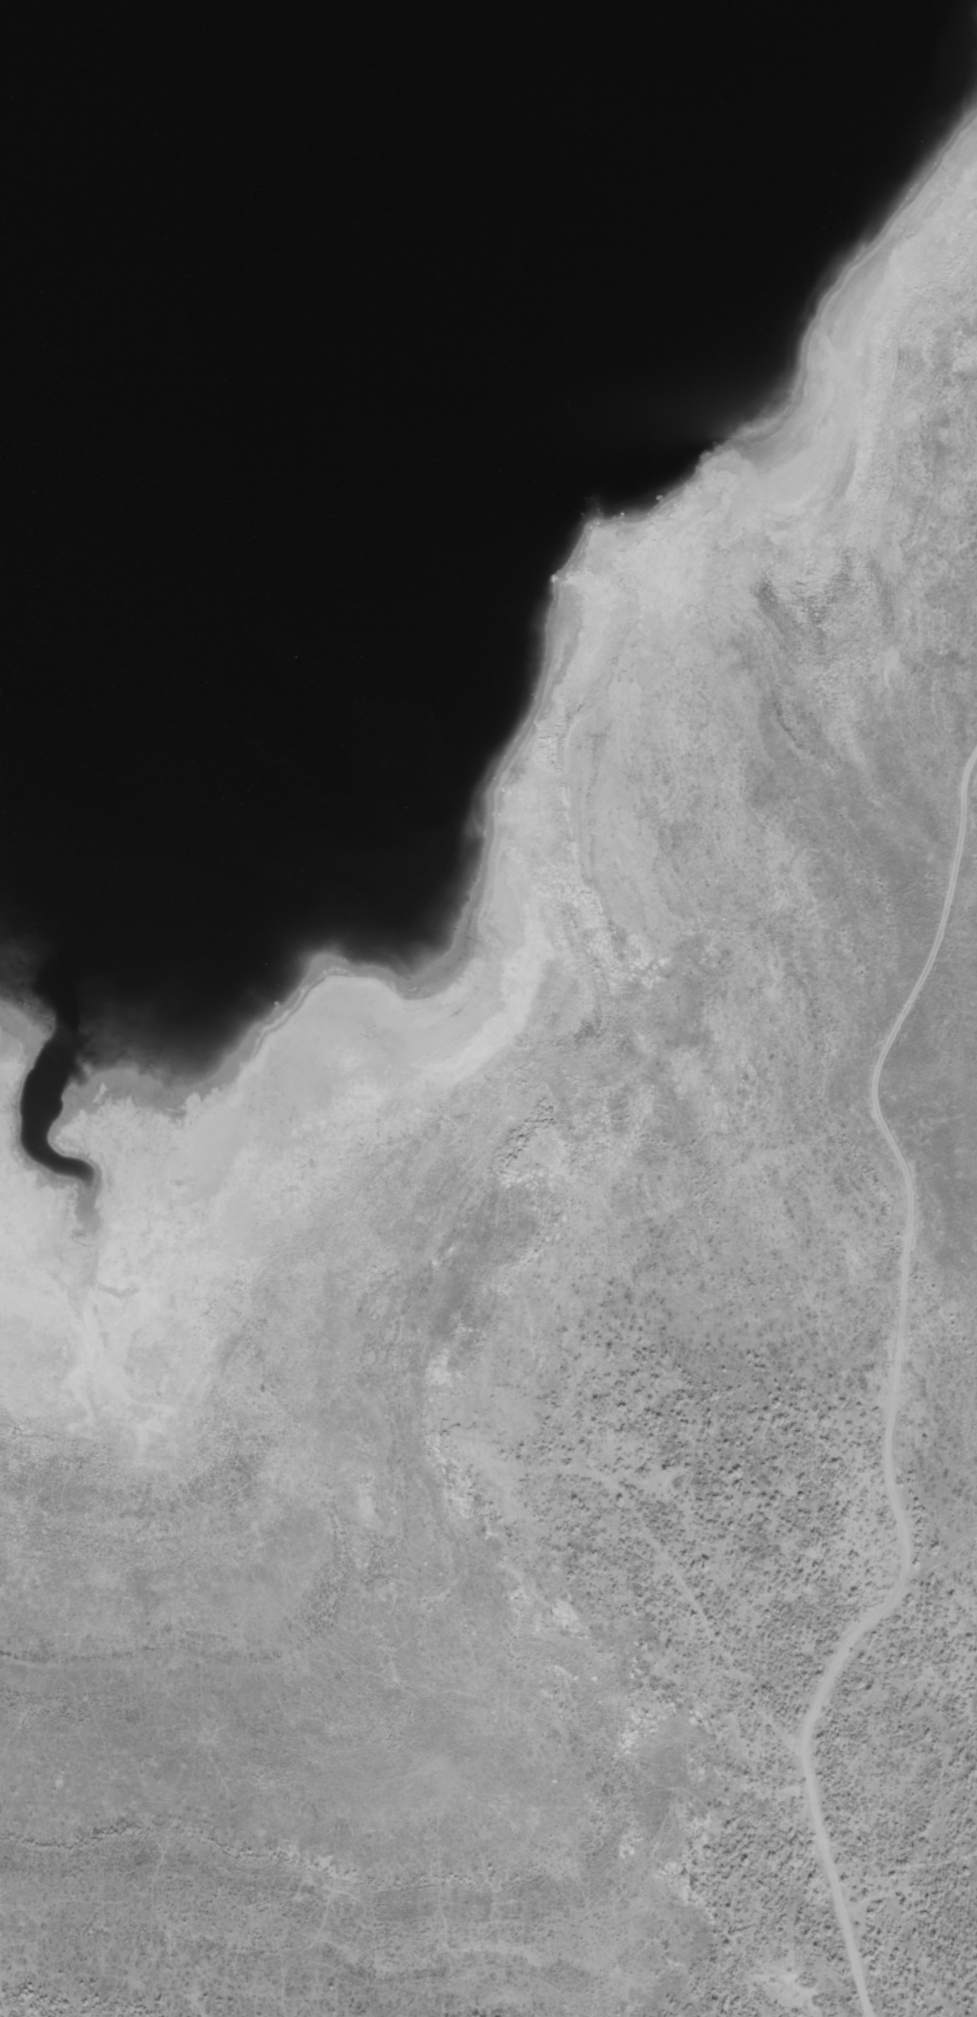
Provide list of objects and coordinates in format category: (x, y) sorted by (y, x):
road: (833, 1988)

